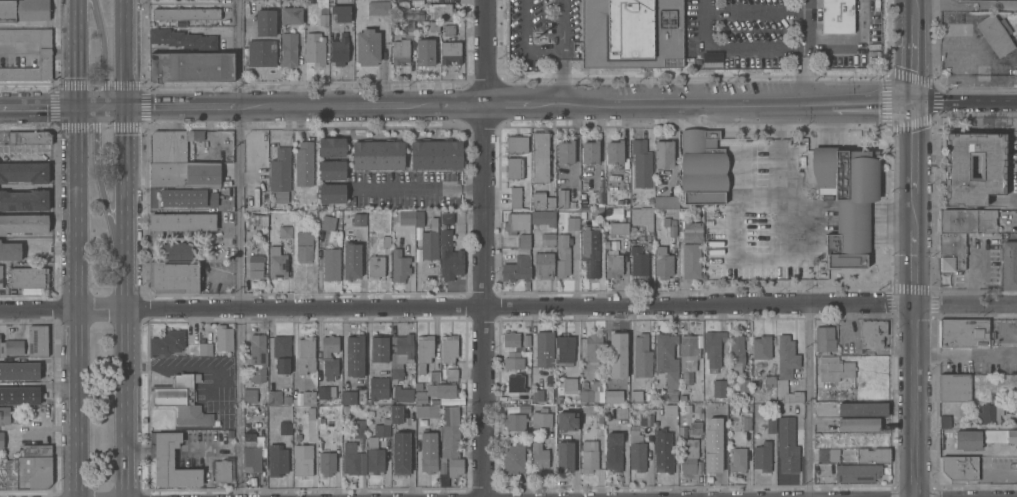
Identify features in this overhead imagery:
building: (378, 6)
building: (24, 9)
building: (440, 9)
building: (341, 12)
building: (186, 13)
building: (291, 14)
building: (323, 15)
building: (837, 16)
building: (265, 22)
road: (804, 23)
building: (434, 25)
road: (558, 25)
road: (77, 26)
building: (410, 27)
building: (449, 29)
building: (632, 33)
building: (996, 33)
building: (182, 38)
road: (524, 43)
road: (855, 45)
building: (367, 46)
road: (730, 46)
building: (289, 48)
building: (314, 48)
building: (339, 49)
building: (400, 50)
building: (425, 51)
building: (450, 51)
road: (912, 51)
road: (19, 52)
road: (45, 52)
road: (64, 52)
building: (261, 52)
building: (45, 53)
road: (130, 53)
road: (107, 58)
building: (710, 59)
building: (192, 66)
road: (803, 75)
road: (560, 78)
road: (78, 79)
road: (964, 101)
road: (871, 103)
road: (680, 105)
road: (185, 106)
road: (340, 106)
road: (461, 106)
road: (506, 106)
road: (39, 107)
traffic signals: (78, 107)
road: (104, 107)
traffic signals: (130, 107)
building: (28, 136)
building: (517, 143)
building: (171, 145)
building: (332, 146)
building: (565, 151)
building: (590, 151)
building: (615, 151)
building: (664, 153)
building: (377, 154)
building: (436, 154)
building: (541, 155)
building: (304, 163)
building: (642, 163)
building: (703, 166)
building: (514, 167)
building: (956, 168)
building: (332, 169)
building: (24, 171)
building: (280, 173)
building: (185, 174)
road: (419, 187)
road: (758, 188)
building: (332, 192)
building: (515, 196)
building: (161, 198)
building: (188, 198)
building: (566, 198)
building: (24, 199)
building: (542, 199)
building: (666, 201)
building: (847, 201)
road: (109, 204)
building: (338, 213)
building: (447, 216)
building: (584, 216)
building: (599, 216)
building: (643, 216)
building: (406, 217)
building: (543, 217)
building: (419, 218)
building: (257, 219)
building: (183, 220)
building: (358, 220)
building: (327, 221)
building: (23, 222)
building: (516, 222)
building: (573, 222)
building: (670, 224)
building: (618, 226)
building: (285, 230)
building: (961, 233)
building: (548, 238)
building: (386, 240)
building: (430, 240)
building: (524, 240)
building: (607, 243)
building: (304, 245)
road: (241, 248)
road: (483, 248)
building: (175, 249)
building: (691, 249)
building: (10, 250)
building: (590, 251)
road: (779, 253)
building: (562, 255)
building: (450, 256)
building: (639, 260)
building: (351, 261)
building: (277, 262)
building: (544, 262)
building: (613, 262)
building: (663, 262)
building: (331, 263)
building: (1009, 264)
building: (256, 265)
building: (375, 265)
building: (399, 265)
building: (516, 267)
building: (0, 275)
building: (28, 276)
building: (174, 276)
road: (481, 295)
road: (914, 299)
road: (77, 301)
road: (129, 302)
road: (966, 304)
road: (468, 306)
road: (494, 306)
road: (457, 307)
road: (481, 317)
building: (873, 332)
building: (963, 332)
building: (223, 337)
building: (511, 338)
building: (824, 338)
building: (526, 339)
building: (37, 340)
building: (167, 341)
building: (618, 343)
building: (11, 346)
building: (761, 346)
building: (246, 347)
building: (449, 347)
building: (565, 347)
building: (593, 347)
building: (205, 348)
building: (544, 348)
building: (664, 348)
building: (713, 348)
building: (379, 349)
building: (424, 351)
building: (689, 351)
building: (282, 352)
building: (736, 352)
building: (400, 353)
building: (306, 354)
building: (329, 355)
building: (642, 355)
building: (354, 356)
building: (786, 356)
building: (257, 357)
building: (513, 360)
building: (835, 368)
building: (26, 371)
building: (452, 373)
building: (434, 376)
building: (769, 380)
building: (515, 382)
building: (671, 383)
building: (569, 384)
building: (743, 384)
building: (377, 387)
building: (719, 387)
building: (955, 387)
building: (176, 390)
building: (593, 390)
building: (610, 390)
building: (325, 391)
building: (435, 391)
building: (402, 393)
building: (249, 394)
building: (790, 394)
building: (19, 395)
building: (537, 395)
building: (635, 395)
building: (274, 396)
building: (308, 396)
building: (648, 396)
building: (348, 397)
building: (612, 397)
building: (684, 397)
building: (286, 398)
building: (294, 398)
building: (434, 400)
building: (451, 400)
road: (811, 400)
building: (1015, 405)
building: (509, 407)
building: (524, 407)
building: (345, 408)
building: (862, 408)
building: (670, 409)
building: (427, 410)
building: (621, 411)
building: (716, 411)
building: (310, 412)
building: (990, 412)
building: (395, 413)
building: (4, 414)
building: (195, 414)
building: (541, 417)
building: (646, 419)
building: (321, 420)
building: (515, 420)
building: (567, 420)
building: (945, 421)
building: (746, 422)
building: (1016, 422)
building: (859, 424)
building: (770, 425)
building: (285, 426)
building: (696, 426)
building: (720, 426)
building: (382, 427)
road: (51, 428)
building: (359, 428)
building: (450, 431)
building: (230, 433)
building: (1001, 435)
building: (1, 438)
building: (967, 438)
building: (863, 439)
building: (787, 444)
building: (34, 450)
building: (613, 450)
building: (663, 450)
building: (687, 450)
building: (428, 451)
building: (251, 453)
building: (400, 453)
building: (637, 453)
building: (828, 454)
building: (873, 454)
building: (374, 455)
building: (539, 455)
building: (565, 455)
building: (589, 455)
building: (762, 455)
building: (513, 457)
building: (713, 457)
building: (302, 458)
building: (738, 458)
building: (276, 459)
building: (353, 459)
building: (170, 460)
building: (327, 462)
building: (442, 465)
building: (454, 466)
building: (698, 467)
building: (960, 467)
building: (223, 469)
building: (857, 471)
building: (28, 472)
building: (443, 480)

